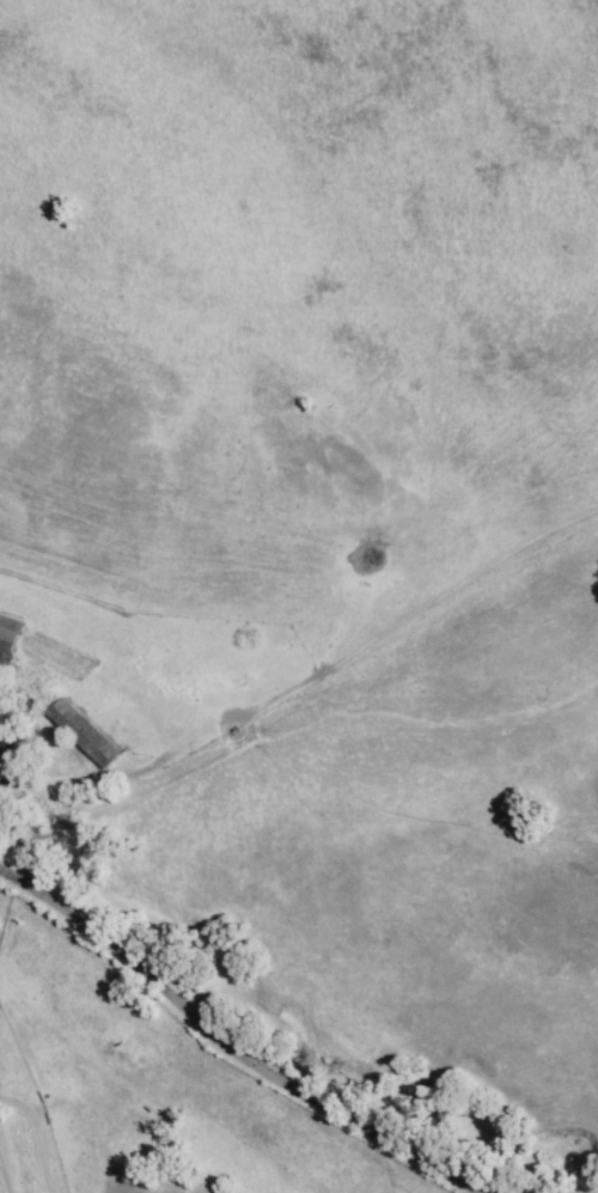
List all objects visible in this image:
building: (6, 643)
building: (81, 737)
road: (224, 1052)

